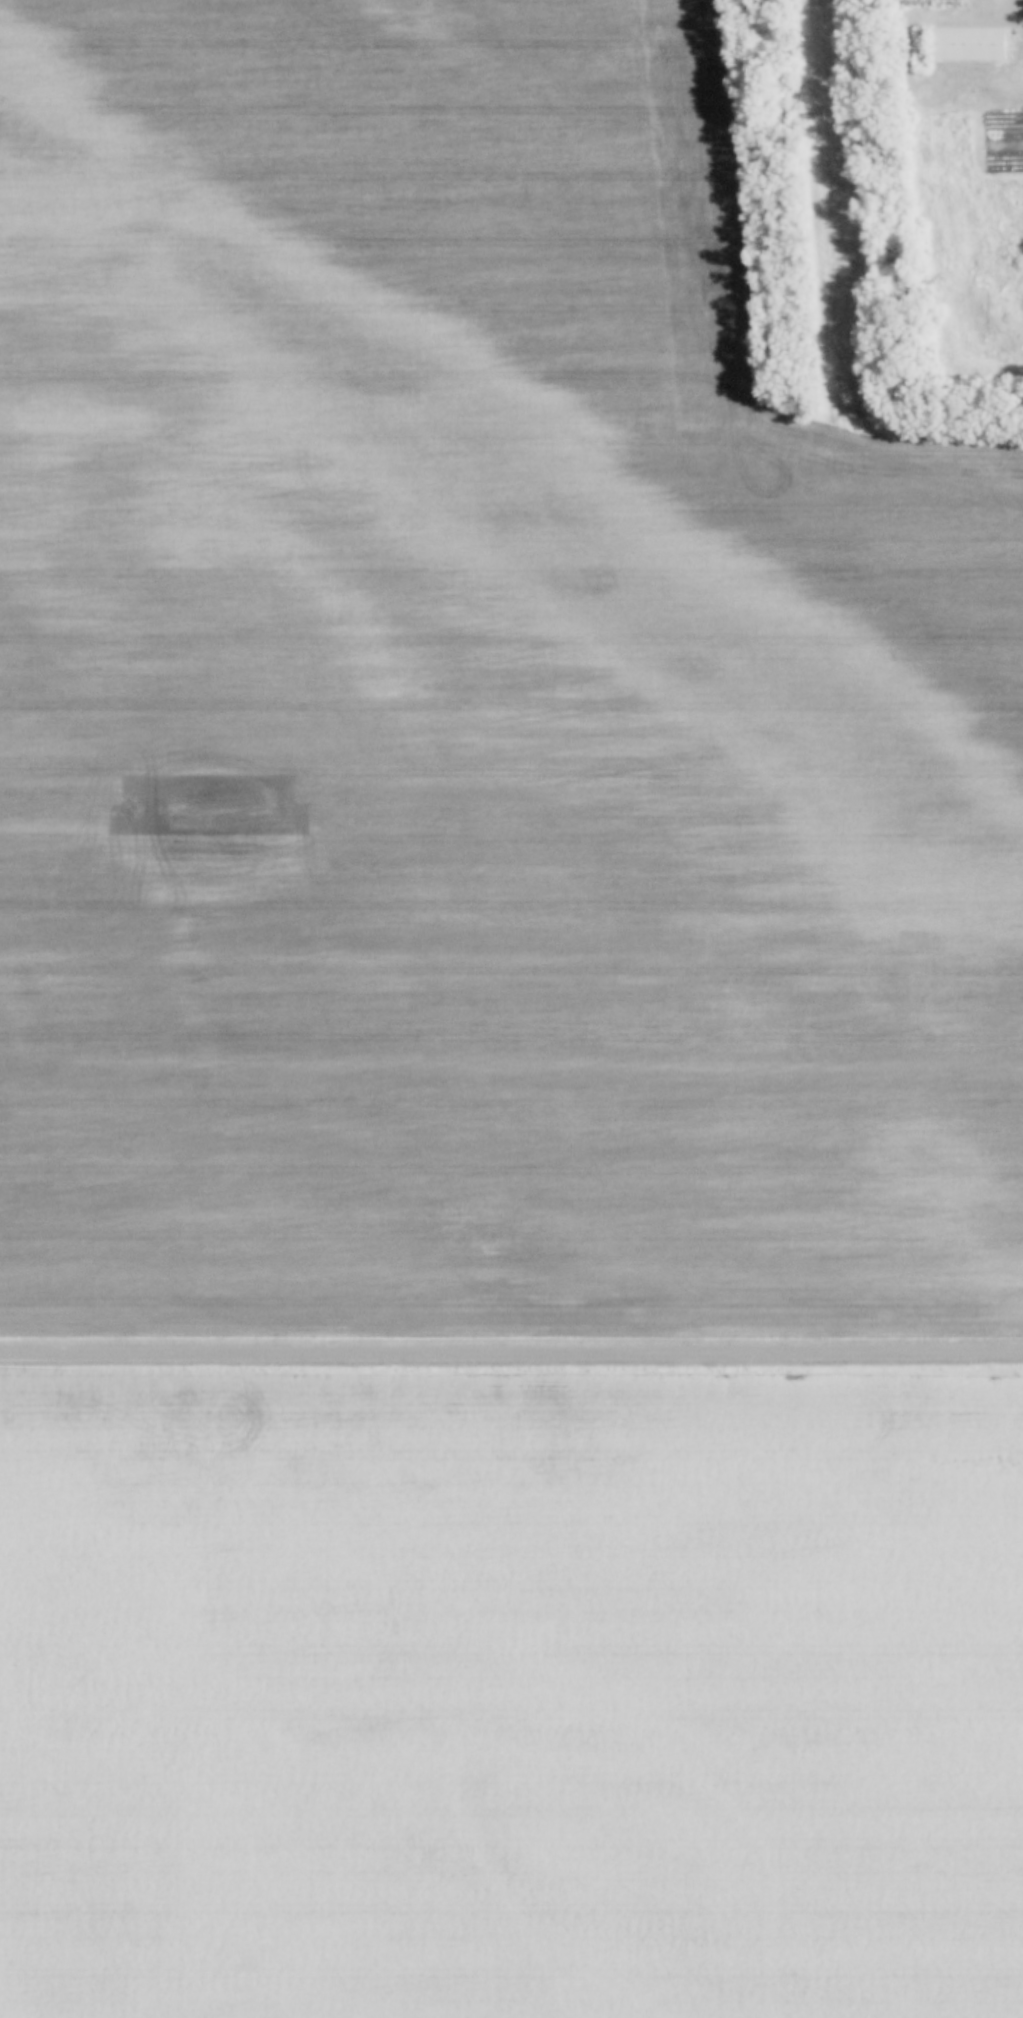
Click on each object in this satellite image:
building: (970, 46)
road: (511, 1353)

